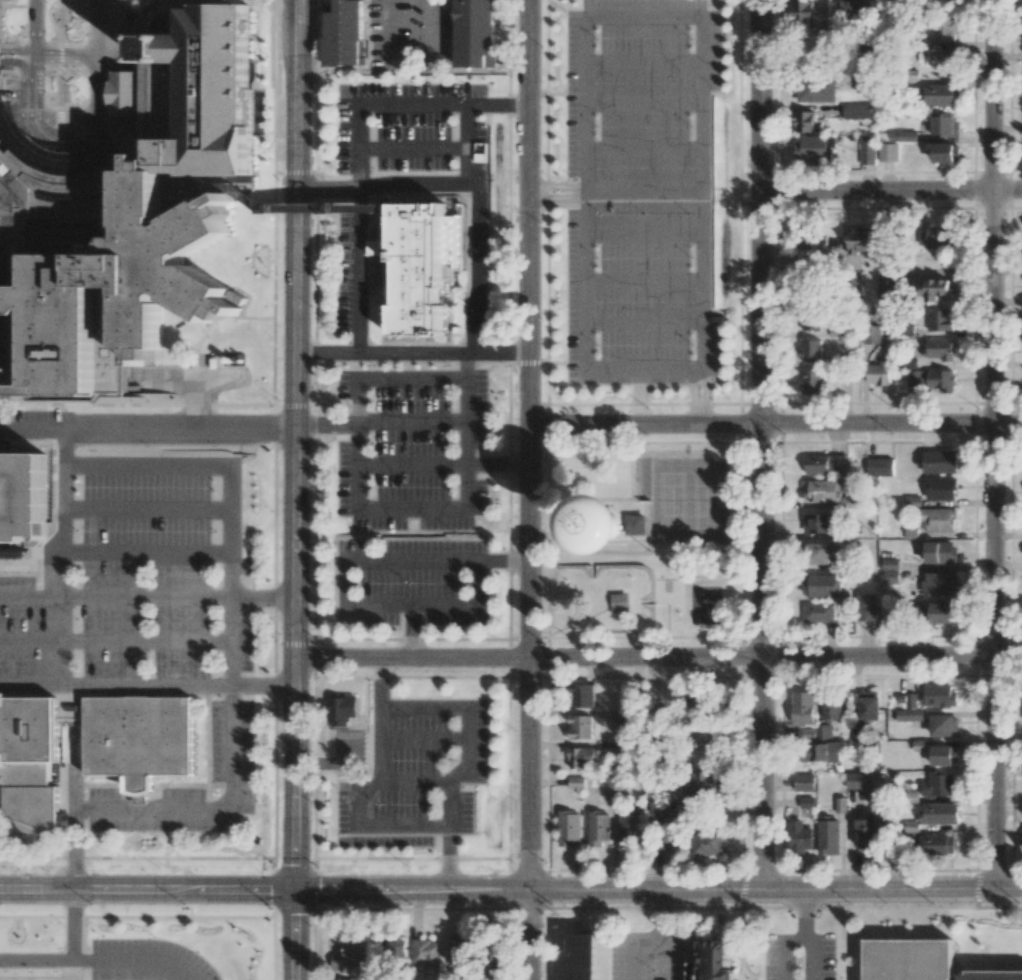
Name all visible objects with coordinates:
building: (854, 8)
road: (587, 17)
building: (804, 17)
building: (945, 29)
building: (346, 33)
building: (476, 33)
parking lot: (412, 36)
building: (866, 51)
road: (644, 60)
building: (942, 60)
road: (412, 70)
building: (863, 83)
building: (816, 90)
building: (124, 92)
building: (941, 94)
road: (644, 102)
road: (496, 105)
building: (857, 111)
building: (804, 121)
building: (945, 125)
parking lot: (405, 128)
road: (65, 135)
building: (902, 135)
road: (643, 147)
road: (361, 148)
building: (814, 148)
building: (867, 149)
building: (888, 152)
building: (944, 152)
road: (470, 185)
road: (892, 188)
parking lot: (641, 189)
road: (643, 190)
road: (557, 191)
building: (135, 231)
road: (644, 234)
building: (937, 235)
building: (815, 239)
building: (859, 240)
road: (644, 278)
road: (353, 283)
building: (855, 287)
building: (885, 288)
building: (810, 319)
building: (940, 320)
road: (644, 322)
building: (870, 334)
building: (939, 348)
building: (811, 350)
road: (412, 351)
building: (878, 373)
building: (930, 378)
road: (358, 379)
building: (812, 383)
road: (638, 391)
road: (700, 391)
road: (412, 420)
road: (775, 423)
road: (146, 427)
road: (762, 445)
road: (991, 445)
parking lot: (412, 449)
building: (938, 461)
road: (412, 463)
road: (490, 464)
building: (826, 464)
building: (880, 466)
building: (181, 479)
road: (67, 486)
road: (294, 489)
building: (941, 489)
road: (529, 490)
building: (827, 493)
building: (22, 498)
park: (688, 499)
building: (913, 501)
building: (938, 519)
water tower: (620, 522)
building: (818, 523)
building: (638, 524)
park: (645, 540)
road: (147, 543)
building: (940, 552)
building: (9, 553)
building: (821, 555)
road: (417, 560)
building: (889, 564)
building: (890, 576)
parking lot: (410, 580)
building: (940, 583)
building: (820, 585)
park: (666, 591)
road: (115, 598)
road: (263, 598)
building: (620, 601)
building: (865, 607)
building: (818, 612)
building: (936, 612)
road: (62, 613)
road: (232, 614)
road: (411, 626)
road: (116, 641)
parking lot: (146, 650)
road: (658, 657)
road: (263, 685)
building: (582, 695)
building: (938, 695)
building: (869, 705)
road: (462, 706)
building: (696, 706)
building: (802, 708)
building: (832, 708)
road: (231, 709)
building: (341, 710)
building: (909, 715)
building: (944, 725)
building: (580, 727)
building: (823, 731)
building: (856, 732)
building: (805, 734)
road: (422, 737)
building: (708, 743)
building: (89, 746)
building: (821, 752)
building: (944, 755)
building: (585, 756)
parking lot: (415, 776)
building: (858, 780)
building: (614, 781)
road: (407, 782)
building: (698, 782)
building: (804, 782)
building: (939, 784)
building: (806, 802)
building: (660, 809)
building: (939, 813)
road: (374, 824)
building: (569, 827)
building: (598, 828)
building: (629, 829)
building: (870, 831)
building: (829, 835)
building: (798, 837)
building: (707, 844)
building: (937, 844)
road: (74, 850)
traffic signals: (295, 890)
road: (510, 891)
road: (751, 907)
road: (999, 907)
road: (659, 914)
road: (803, 915)
road: (976, 935)
road: (73, 942)
road: (741, 944)
road: (630, 945)
building: (396, 948)
road: (680, 949)
road: (783, 949)
building: (459, 952)
parking lot: (655, 954)
road: (813, 954)
building: (351, 955)
parking lot: (1011, 955)
building: (427, 956)
road: (760, 956)
road: (839, 956)
building: (584, 957)
road: (36, 959)
road: (135, 959)
parking lot: (147, 960)
building: (495, 961)
parking lot: (780, 961)
building: (911, 961)
building: (716, 962)
road: (755, 977)
building: (344, 979)

